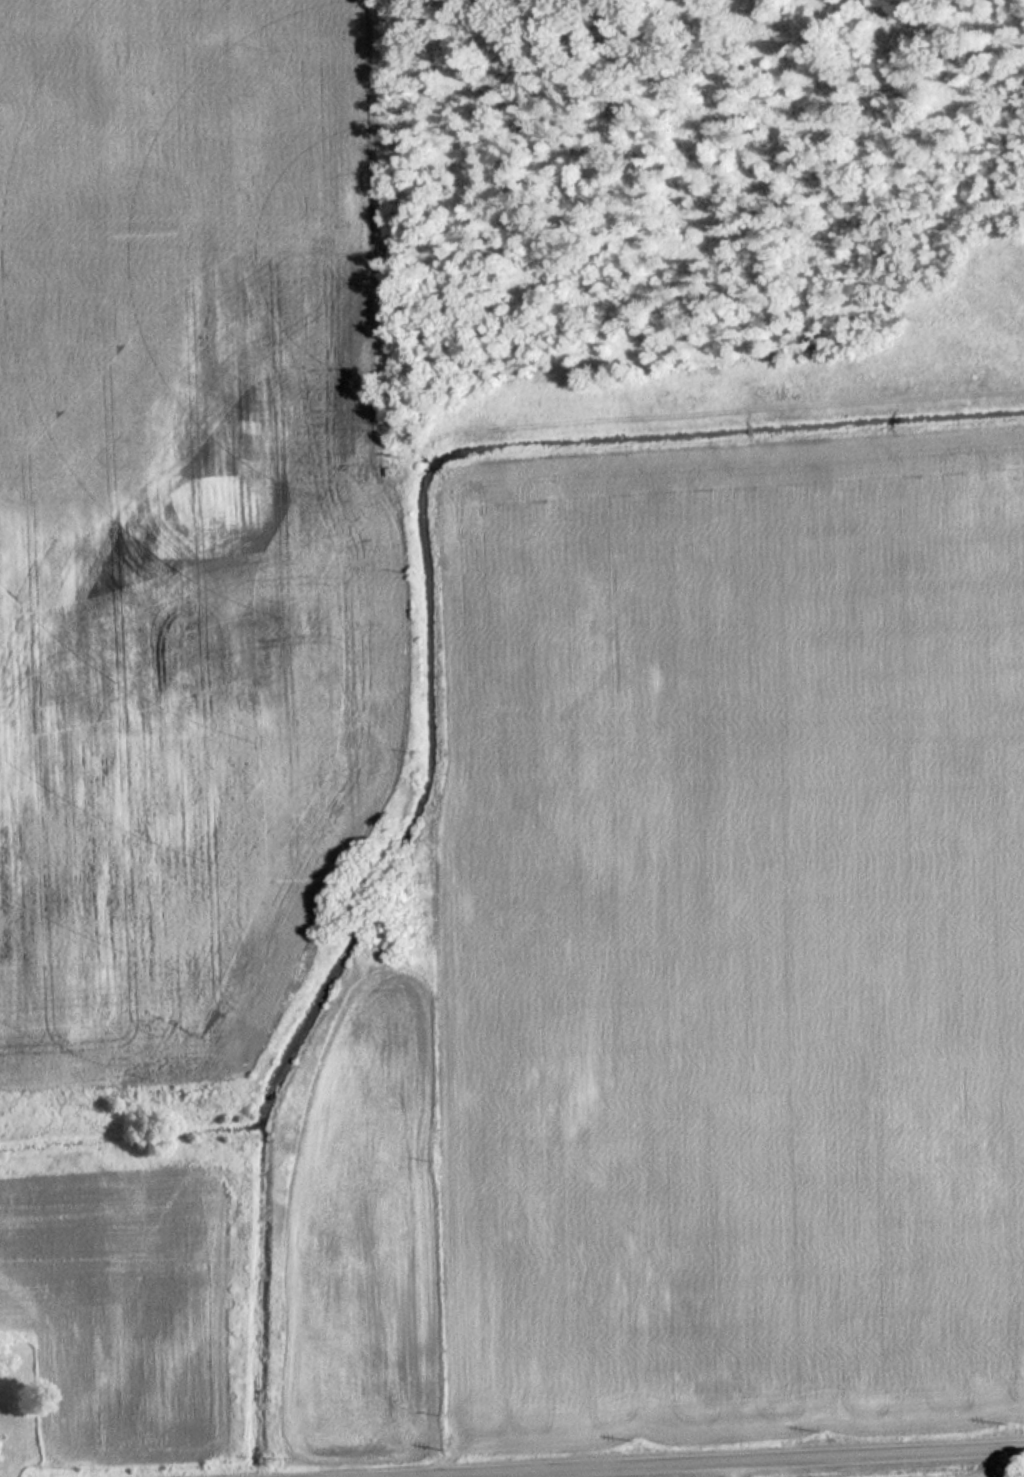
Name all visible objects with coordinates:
road: (707, 1462)

